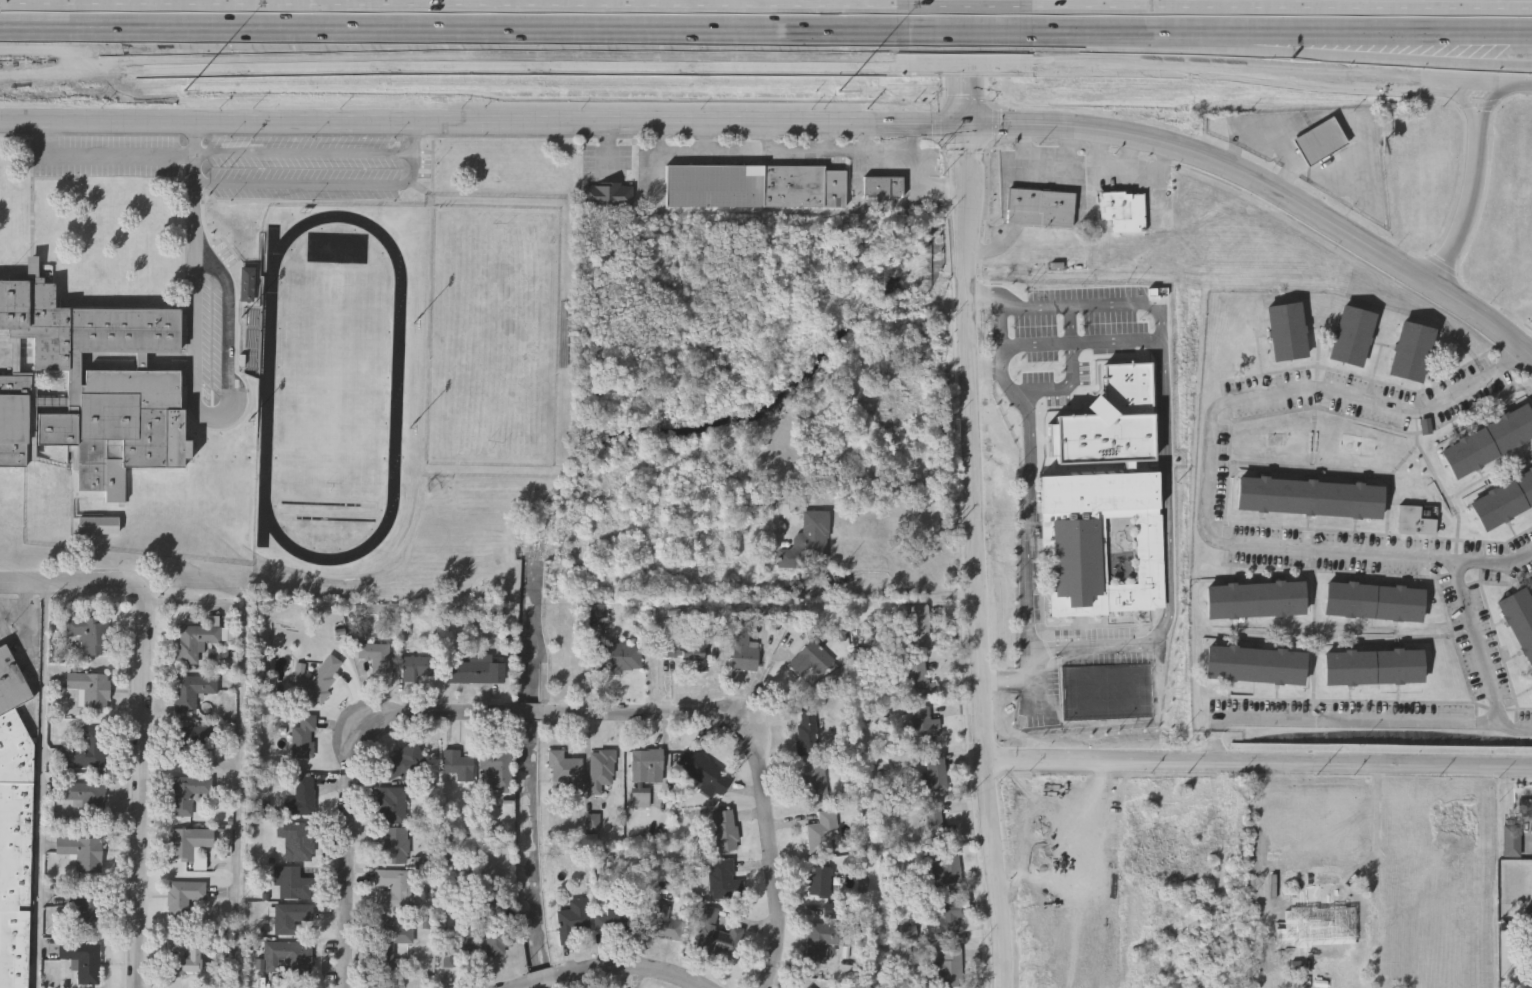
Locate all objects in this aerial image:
road: (454, 5)
road: (964, 6)
road: (1275, 6)
road: (454, 28)
road: (964, 30)
road: (1093, 30)
road: (1349, 32)
road: (1348, 53)
road: (966, 61)
road: (454, 66)
road: (964, 67)
road: (1271, 73)
building: (913, 82)
road: (1527, 83)
road: (1459, 95)
road: (1497, 98)
road: (798, 122)
traffic signals: (966, 122)
road: (830, 137)
road: (770, 138)
road: (869, 138)
road: (707, 140)
building: (1321, 141)
road: (913, 147)
road: (609, 148)
road: (803, 153)
road: (304, 155)
road: (103, 158)
road: (194, 174)
building: (756, 187)
building: (883, 187)
road: (334, 188)
building: (608, 194)
road: (1468, 208)
building: (1039, 210)
building: (1122, 213)
building: (250, 285)
road: (984, 300)
road: (229, 320)
road: (195, 330)
building: (1286, 334)
road: (1001, 338)
building: (1350, 338)
road: (1083, 343)
building: (1410, 354)
road: (987, 373)
building: (92, 388)
road: (1064, 388)
road: (1029, 407)
building: (1488, 444)
road: (1167, 460)
road: (1210, 471)
building: (1308, 499)
building: (1502, 501)
road: (1028, 502)
building: (1414, 522)
building: (1088, 534)
building: (808, 544)
road: (975, 555)
road: (70, 584)
road: (898, 589)
road: (1026, 597)
building: (1254, 601)
building: (1373, 604)
building: (597, 612)
road: (26, 613)
parking lot: (9, 620)
building: (1519, 622)
building: (919, 627)
building: (91, 634)
road: (27, 640)
building: (198, 641)
road: (1479, 643)
building: (686, 650)
building: (744, 651)
building: (375, 656)
building: (617, 656)
building: (811, 664)
building: (1254, 667)
building: (419, 668)
building: (1373, 669)
building: (475, 671)
building: (917, 678)
road: (1028, 678)
building: (317, 679)
road: (1004, 679)
building: (11, 685)
building: (92, 688)
building: (191, 692)
road: (532, 713)
road: (646, 713)
road: (438, 714)
road: (1356, 723)
building: (924, 724)
building: (807, 731)
building: (195, 737)
building: (304, 737)
road: (1019, 740)
road: (239, 747)
building: (87, 750)
road: (1257, 761)
building: (402, 763)
building: (648, 765)
building: (458, 766)
building: (497, 770)
building: (565, 770)
building: (601, 770)
building: (702, 773)
building: (934, 774)
building: (818, 783)
road: (40, 786)
road: (139, 789)
building: (187, 793)
building: (86, 796)
building: (301, 798)
building: (640, 799)
building: (392, 805)
building: (1525, 807)
building: (934, 820)
road: (1375, 826)
building: (725, 832)
building: (822, 833)
building: (297, 840)
building: (1513, 841)
road: (772, 844)
building: (395, 846)
road: (348, 849)
building: (15, 850)
building: (83, 854)
building: (945, 866)
building: (724, 881)
building: (820, 883)
building: (294, 884)
building: (392, 890)
building: (184, 900)
building: (82, 911)
building: (948, 915)
building: (292, 918)
building: (572, 920)
building: (615, 922)
building: (664, 925)
building: (1331, 932)
building: (718, 936)
building: (390, 940)
building: (498, 942)
building: (823, 942)
building: (458, 946)
building: (183, 957)
building: (287, 957)
building: (81, 963)
road: (636, 968)
building: (949, 969)
road: (544, 980)
road: (522, 987)
building: (809, 987)

